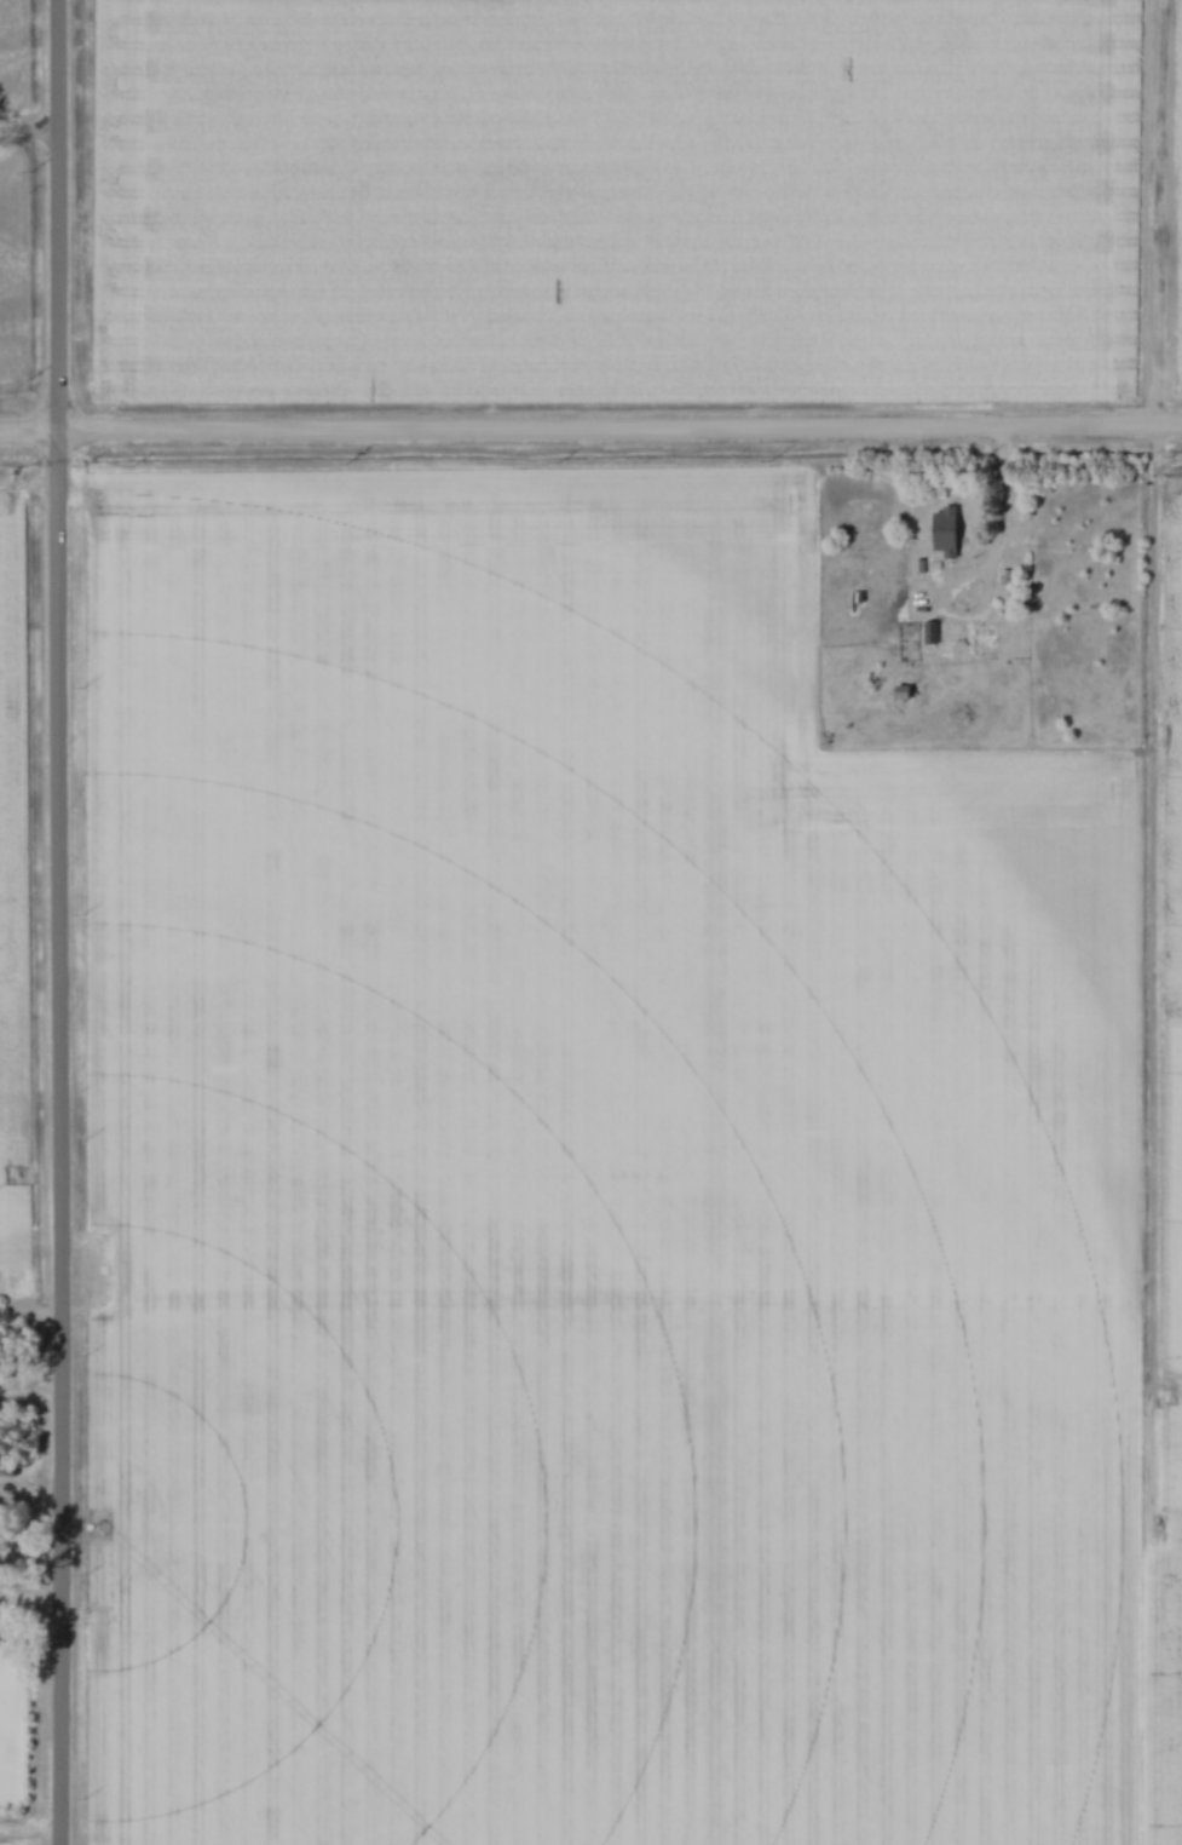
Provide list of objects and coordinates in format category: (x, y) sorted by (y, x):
road: (28, 132)
road: (590, 429)
road: (1004, 490)
building: (945, 533)
road: (970, 613)
building: (930, 633)
building: (901, 694)
road: (58, 922)
road: (30, 1493)
road: (30, 1596)

